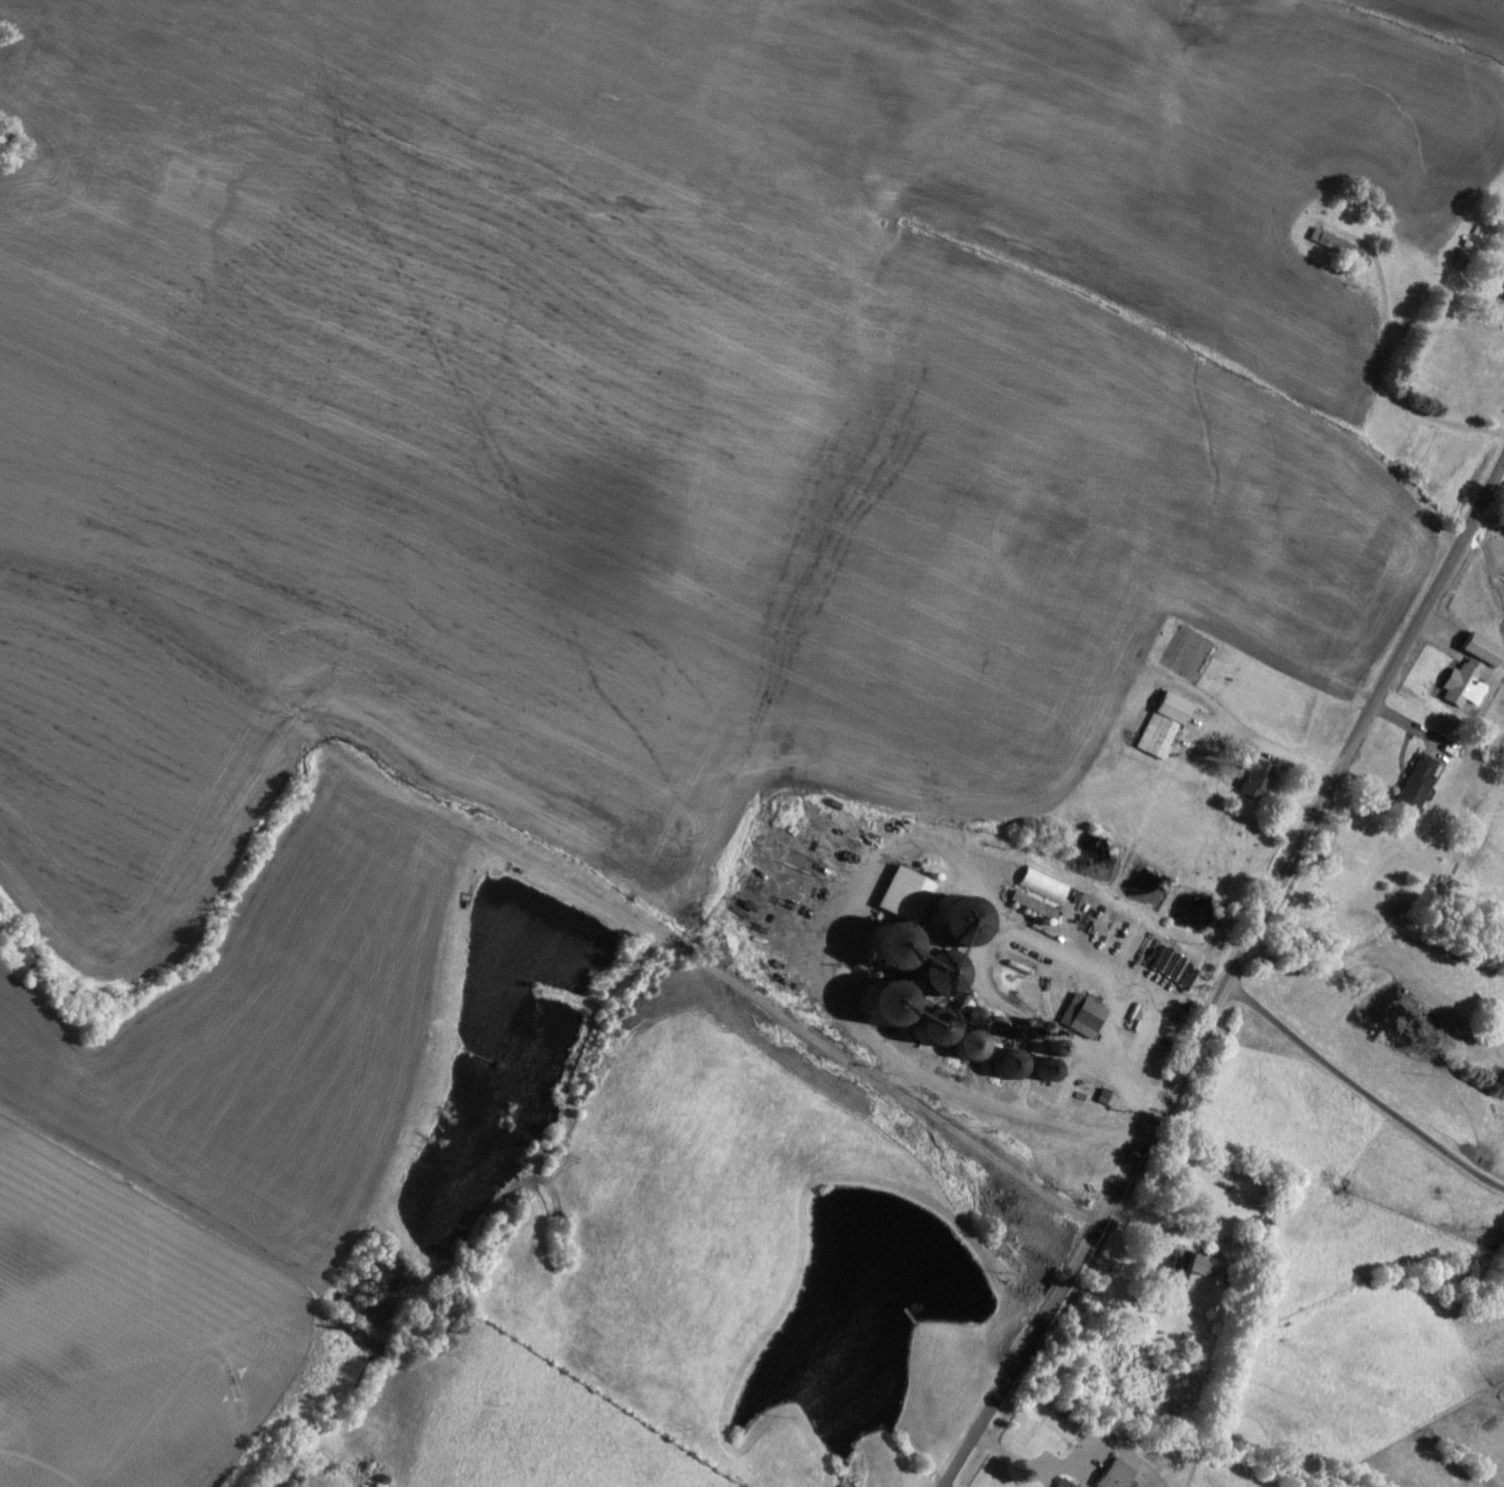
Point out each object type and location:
building: (1341, 245)
building: (1488, 648)
building: (1472, 682)
building: (1170, 723)
building: (1261, 776)
building: (1423, 782)
building: (1049, 885)
building: (1040, 904)
road: (1233, 981)
building: (1088, 1015)
building: (1199, 1266)
building: (1122, 1475)

